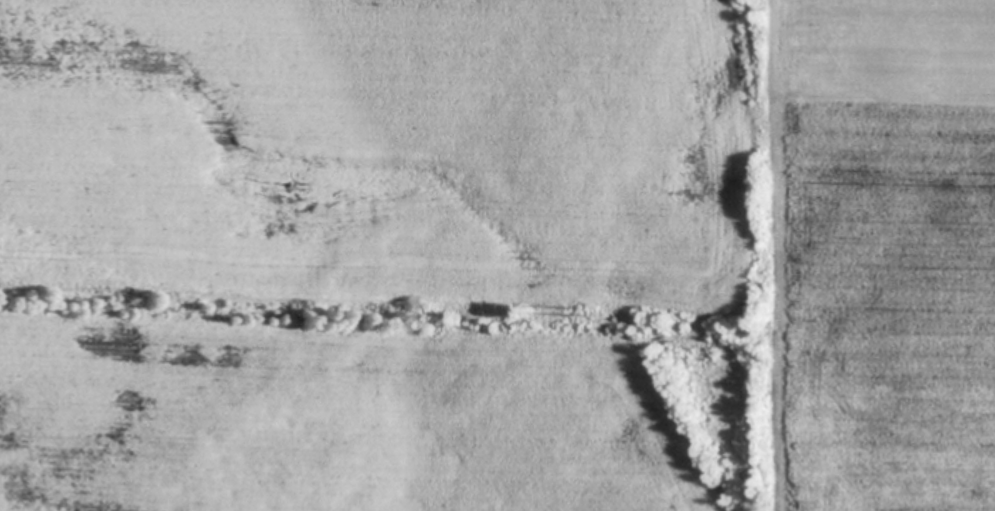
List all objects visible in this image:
power tower: (572, 318)

